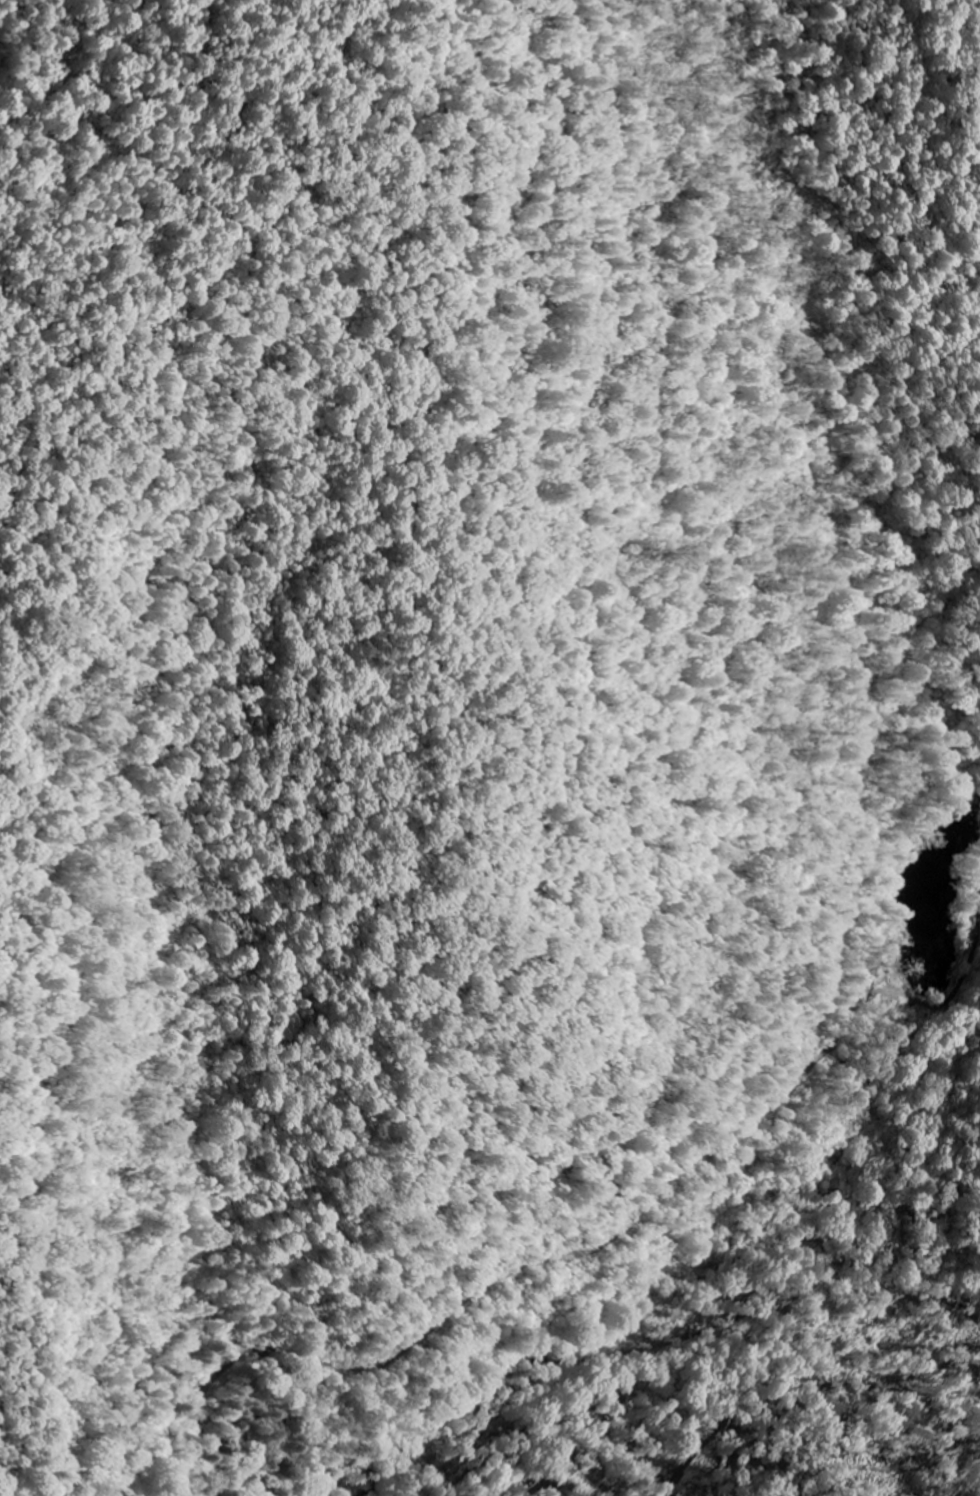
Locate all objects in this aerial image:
road: (203, 1419)

